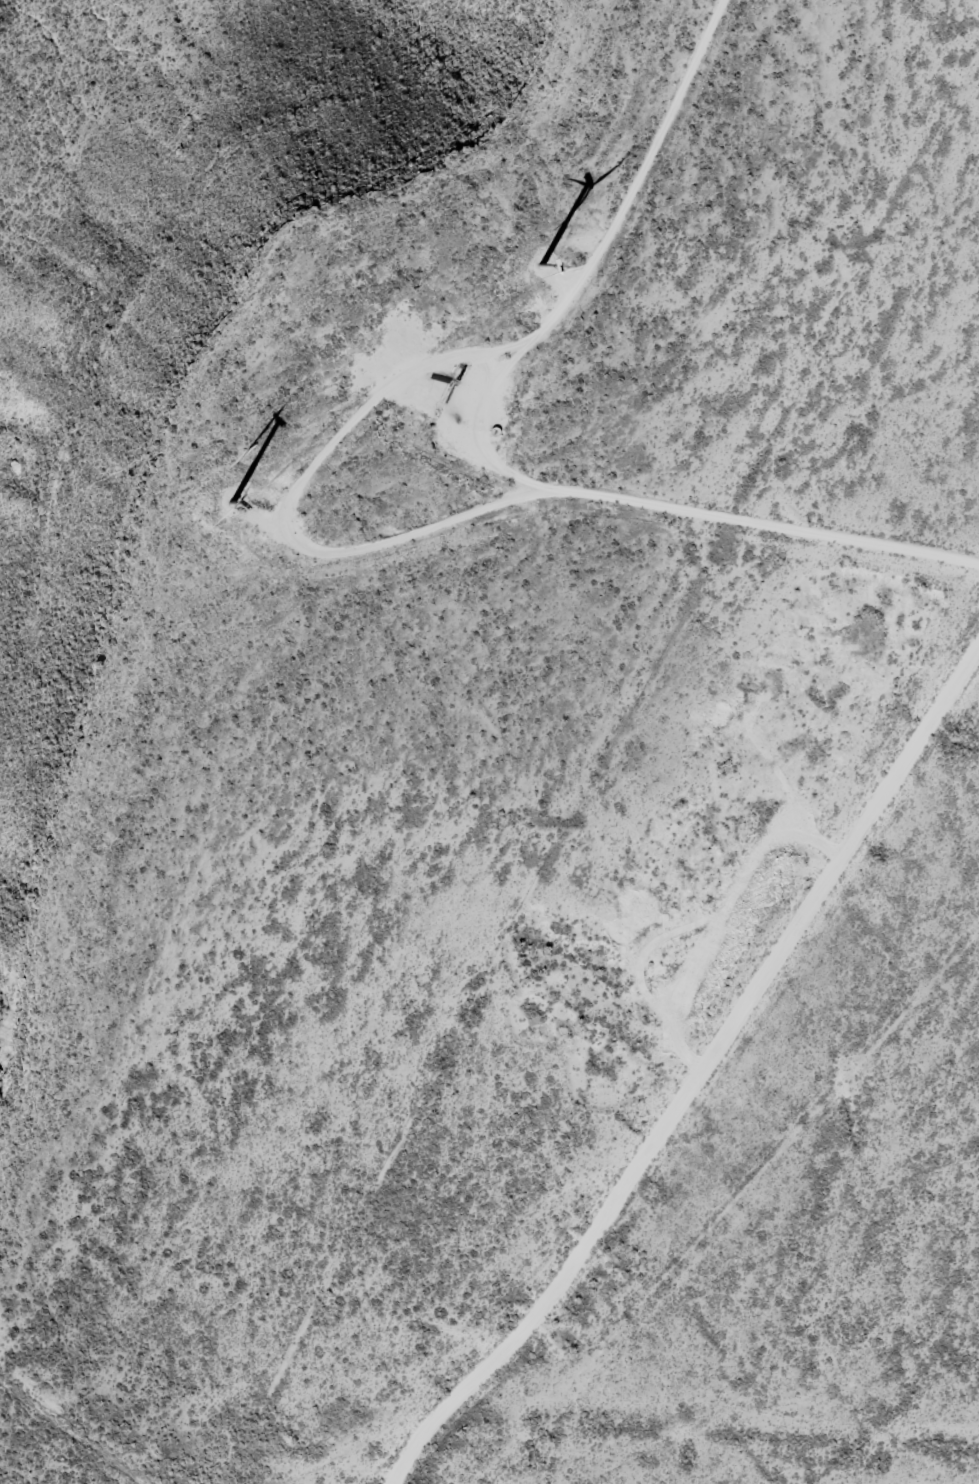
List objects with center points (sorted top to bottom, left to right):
wind turbine: (538, 274)
wind turbine: (227, 501)
road: (717, 1100)

